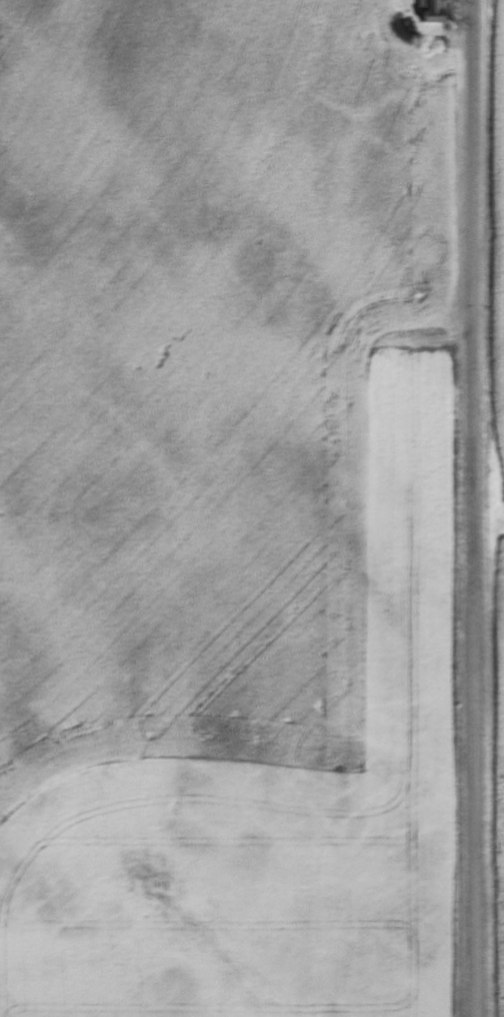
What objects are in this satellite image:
building: (433, 12)
road: (479, 508)

